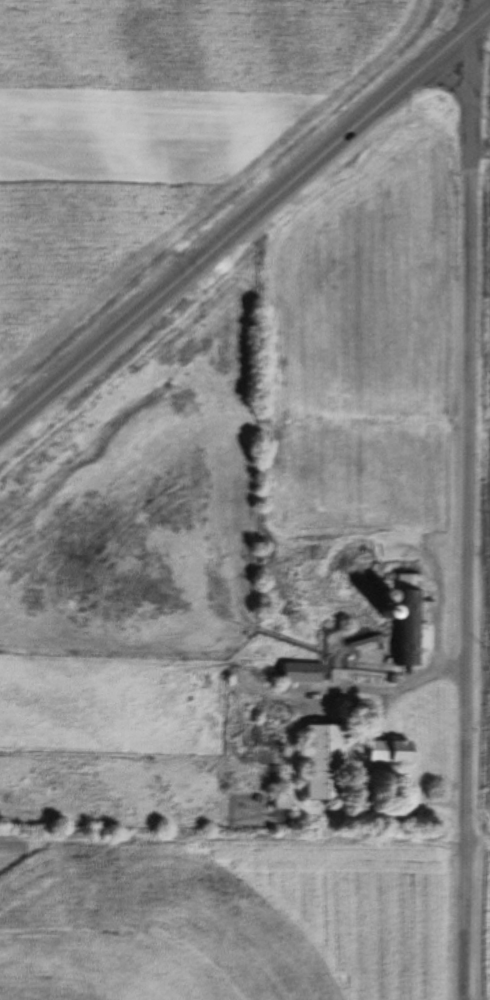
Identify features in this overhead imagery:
road: (245, 228)
road: (463, 499)
building: (409, 620)
building: (304, 673)
building: (265, 736)
building: (392, 751)
building: (326, 762)
building: (283, 802)

